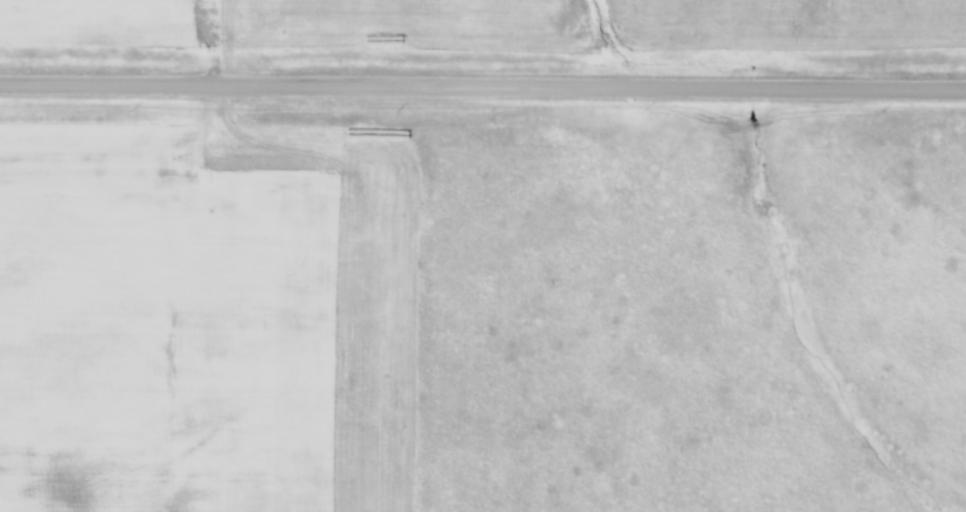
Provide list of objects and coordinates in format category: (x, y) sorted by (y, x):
road: (483, 87)

